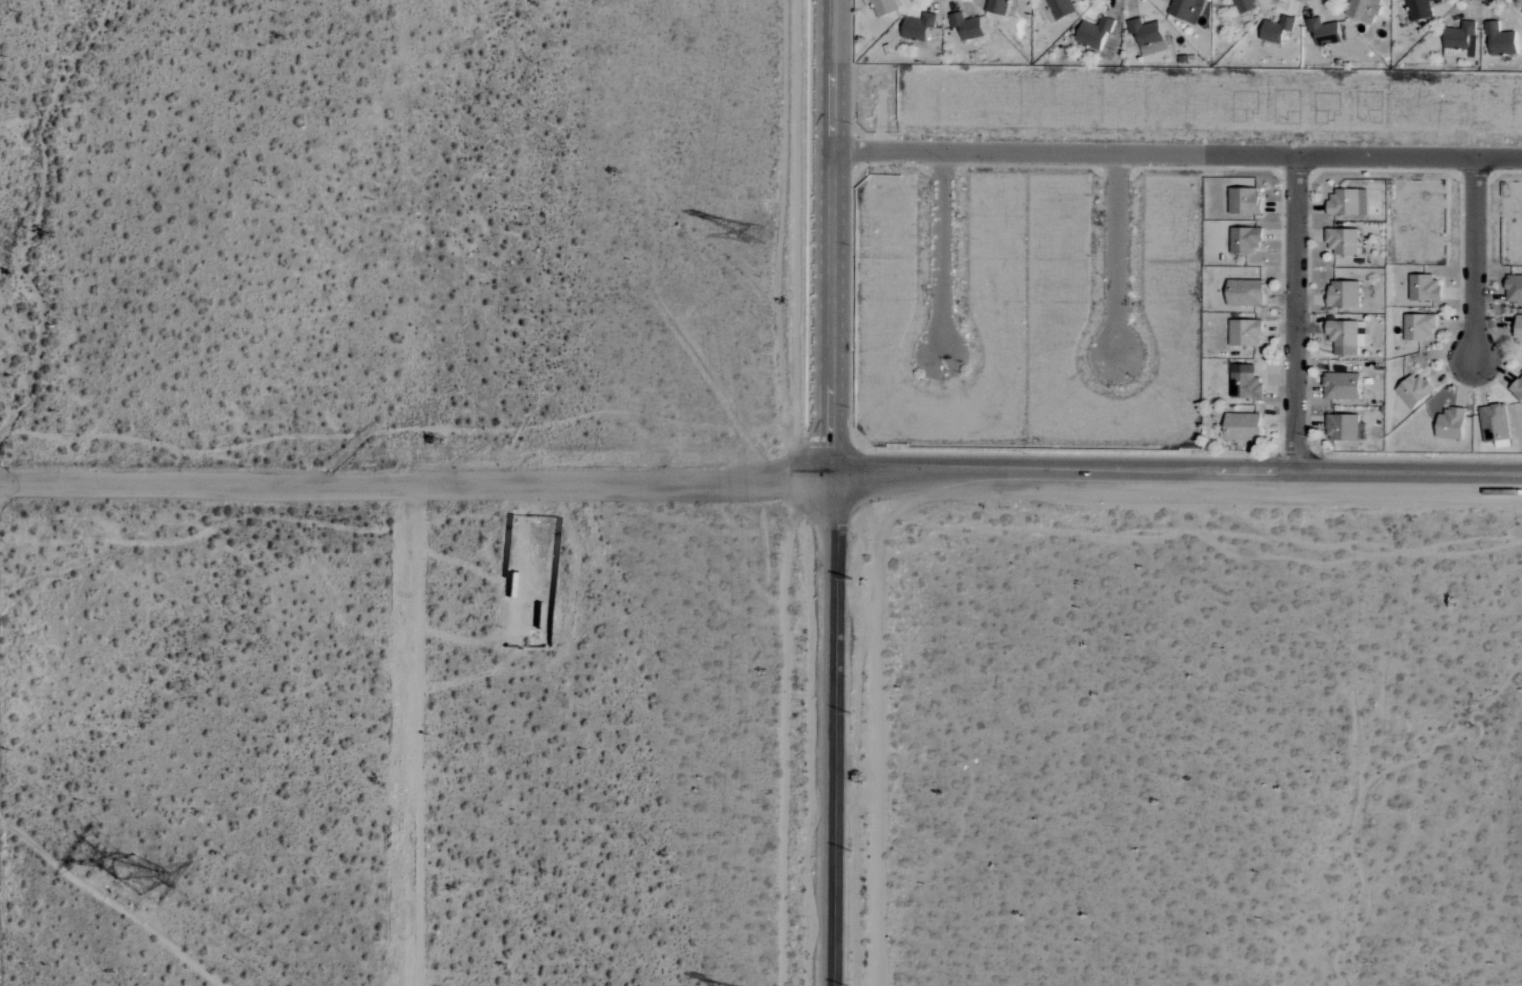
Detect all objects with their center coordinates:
building: (1244, 5)
building: (883, 6)
building: (1054, 9)
building: (1186, 9)
building: (1419, 9)
building: (1363, 10)
building: (1276, 29)
building: (1323, 32)
building: (1093, 33)
building: (1146, 36)
building: (1460, 40)
building: (1500, 40)
road: (1178, 153)
building: (1243, 201)
building: (1348, 202)
road: (833, 232)
power tower: (761, 233)
building: (1245, 240)
building: (1341, 241)
road: (943, 253)
road: (1118, 254)
road: (1477, 258)
building: (1423, 288)
building: (1514, 288)
building: (1244, 293)
building: (1343, 294)
road: (1295, 312)
building: (1419, 327)
building: (1518, 328)
building: (1244, 333)
building: (1345, 337)
building: (1245, 385)
building: (1341, 386)
building: (1413, 390)
building: (1517, 390)
building: (1494, 423)
building: (1449, 424)
building: (1242, 427)
building: (1343, 427)
street lamp: (1306, 438)
street lamp: (1429, 458)
road: (1177, 468)
road: (416, 483)
road: (829, 725)
road: (425, 734)
power tower: (135, 875)

